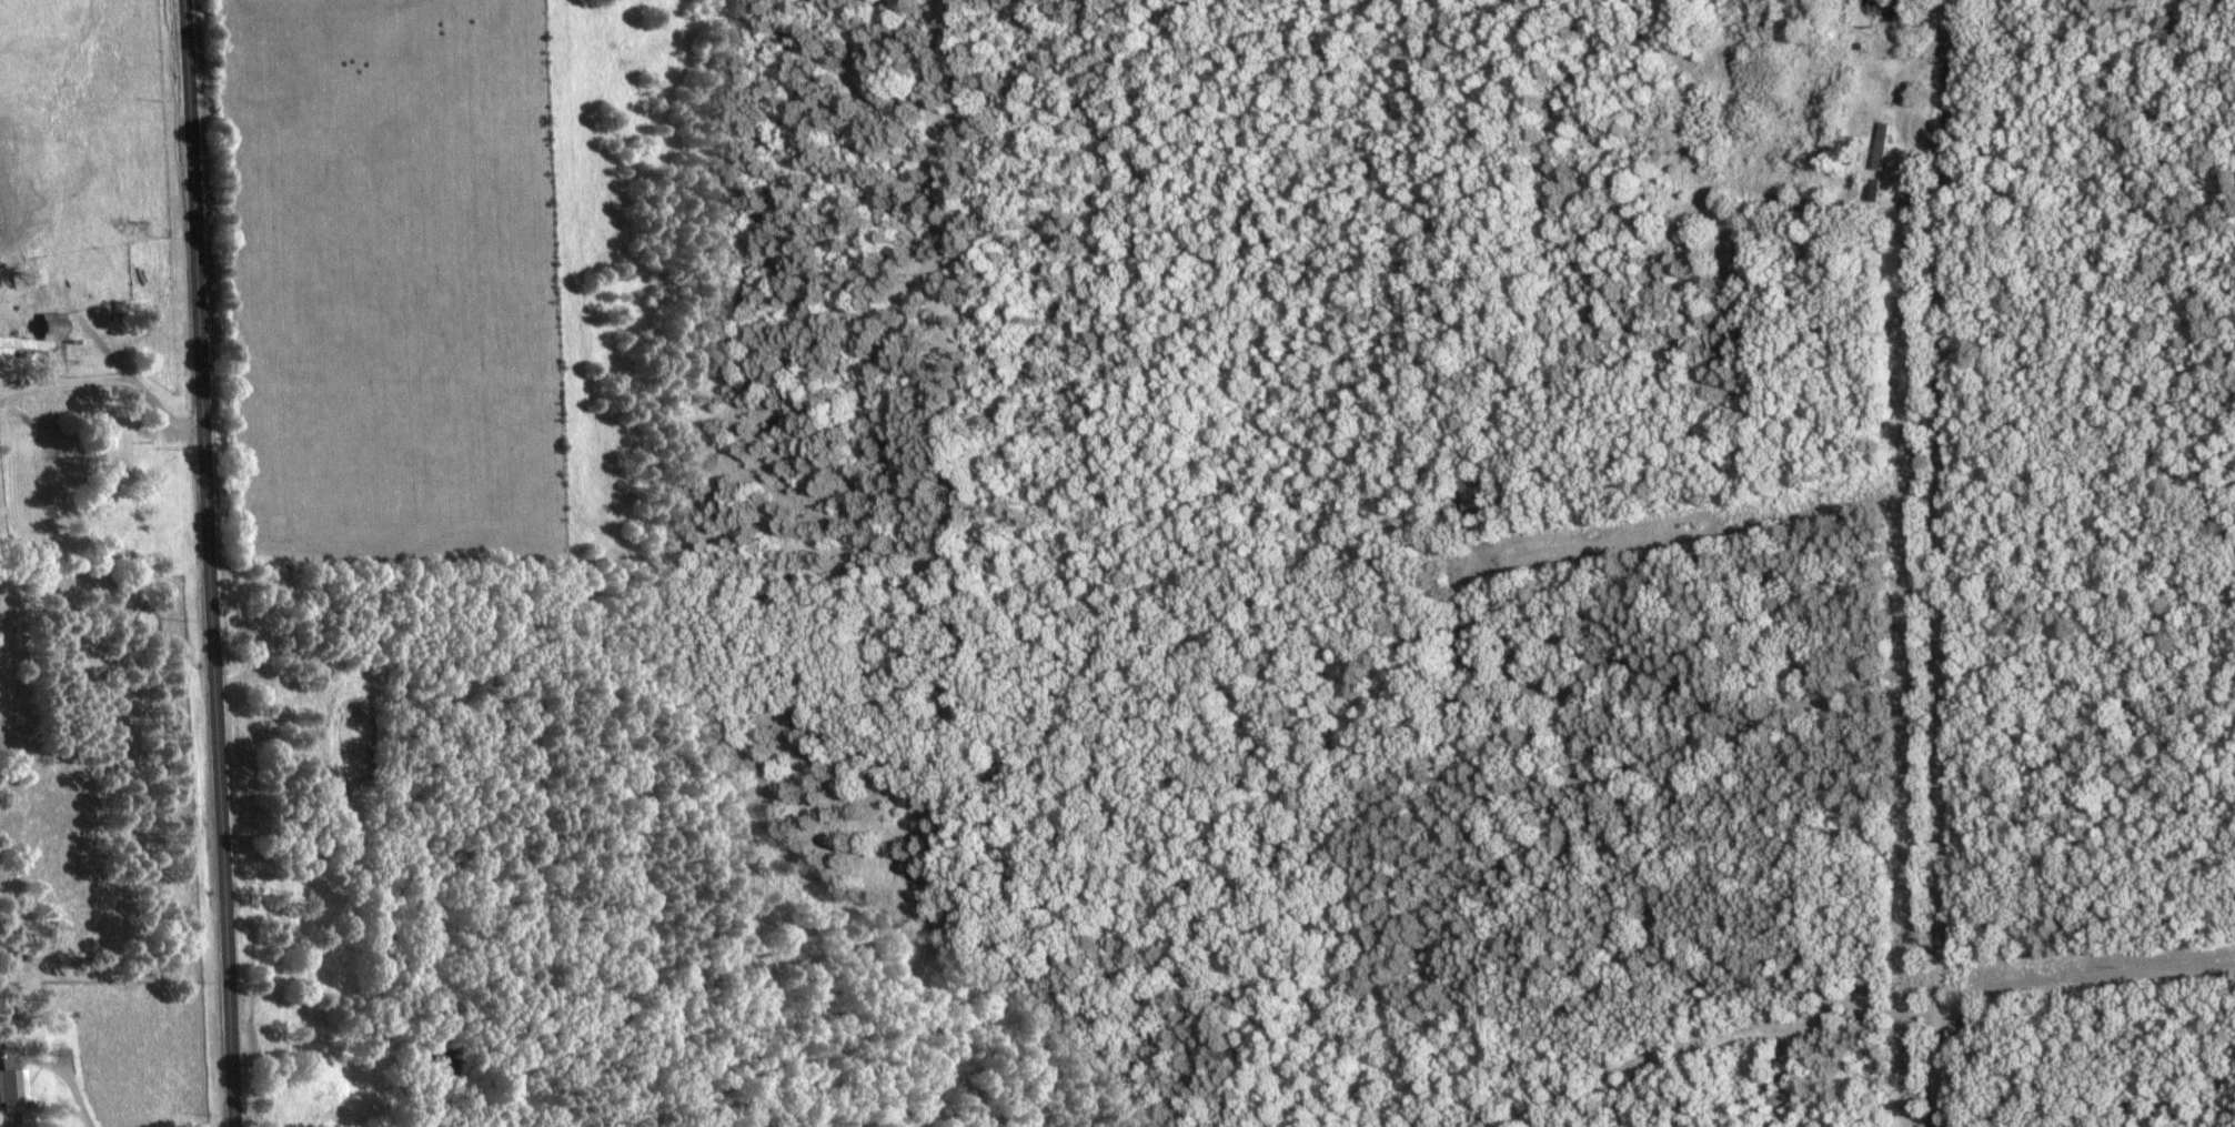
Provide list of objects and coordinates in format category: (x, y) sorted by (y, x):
building: (1875, 10)
building: (1874, 150)
building: (1784, 208)
building: (47, 331)
road: (220, 563)
road: (1939, 563)
building: (1448, 637)
building: (10, 1093)

